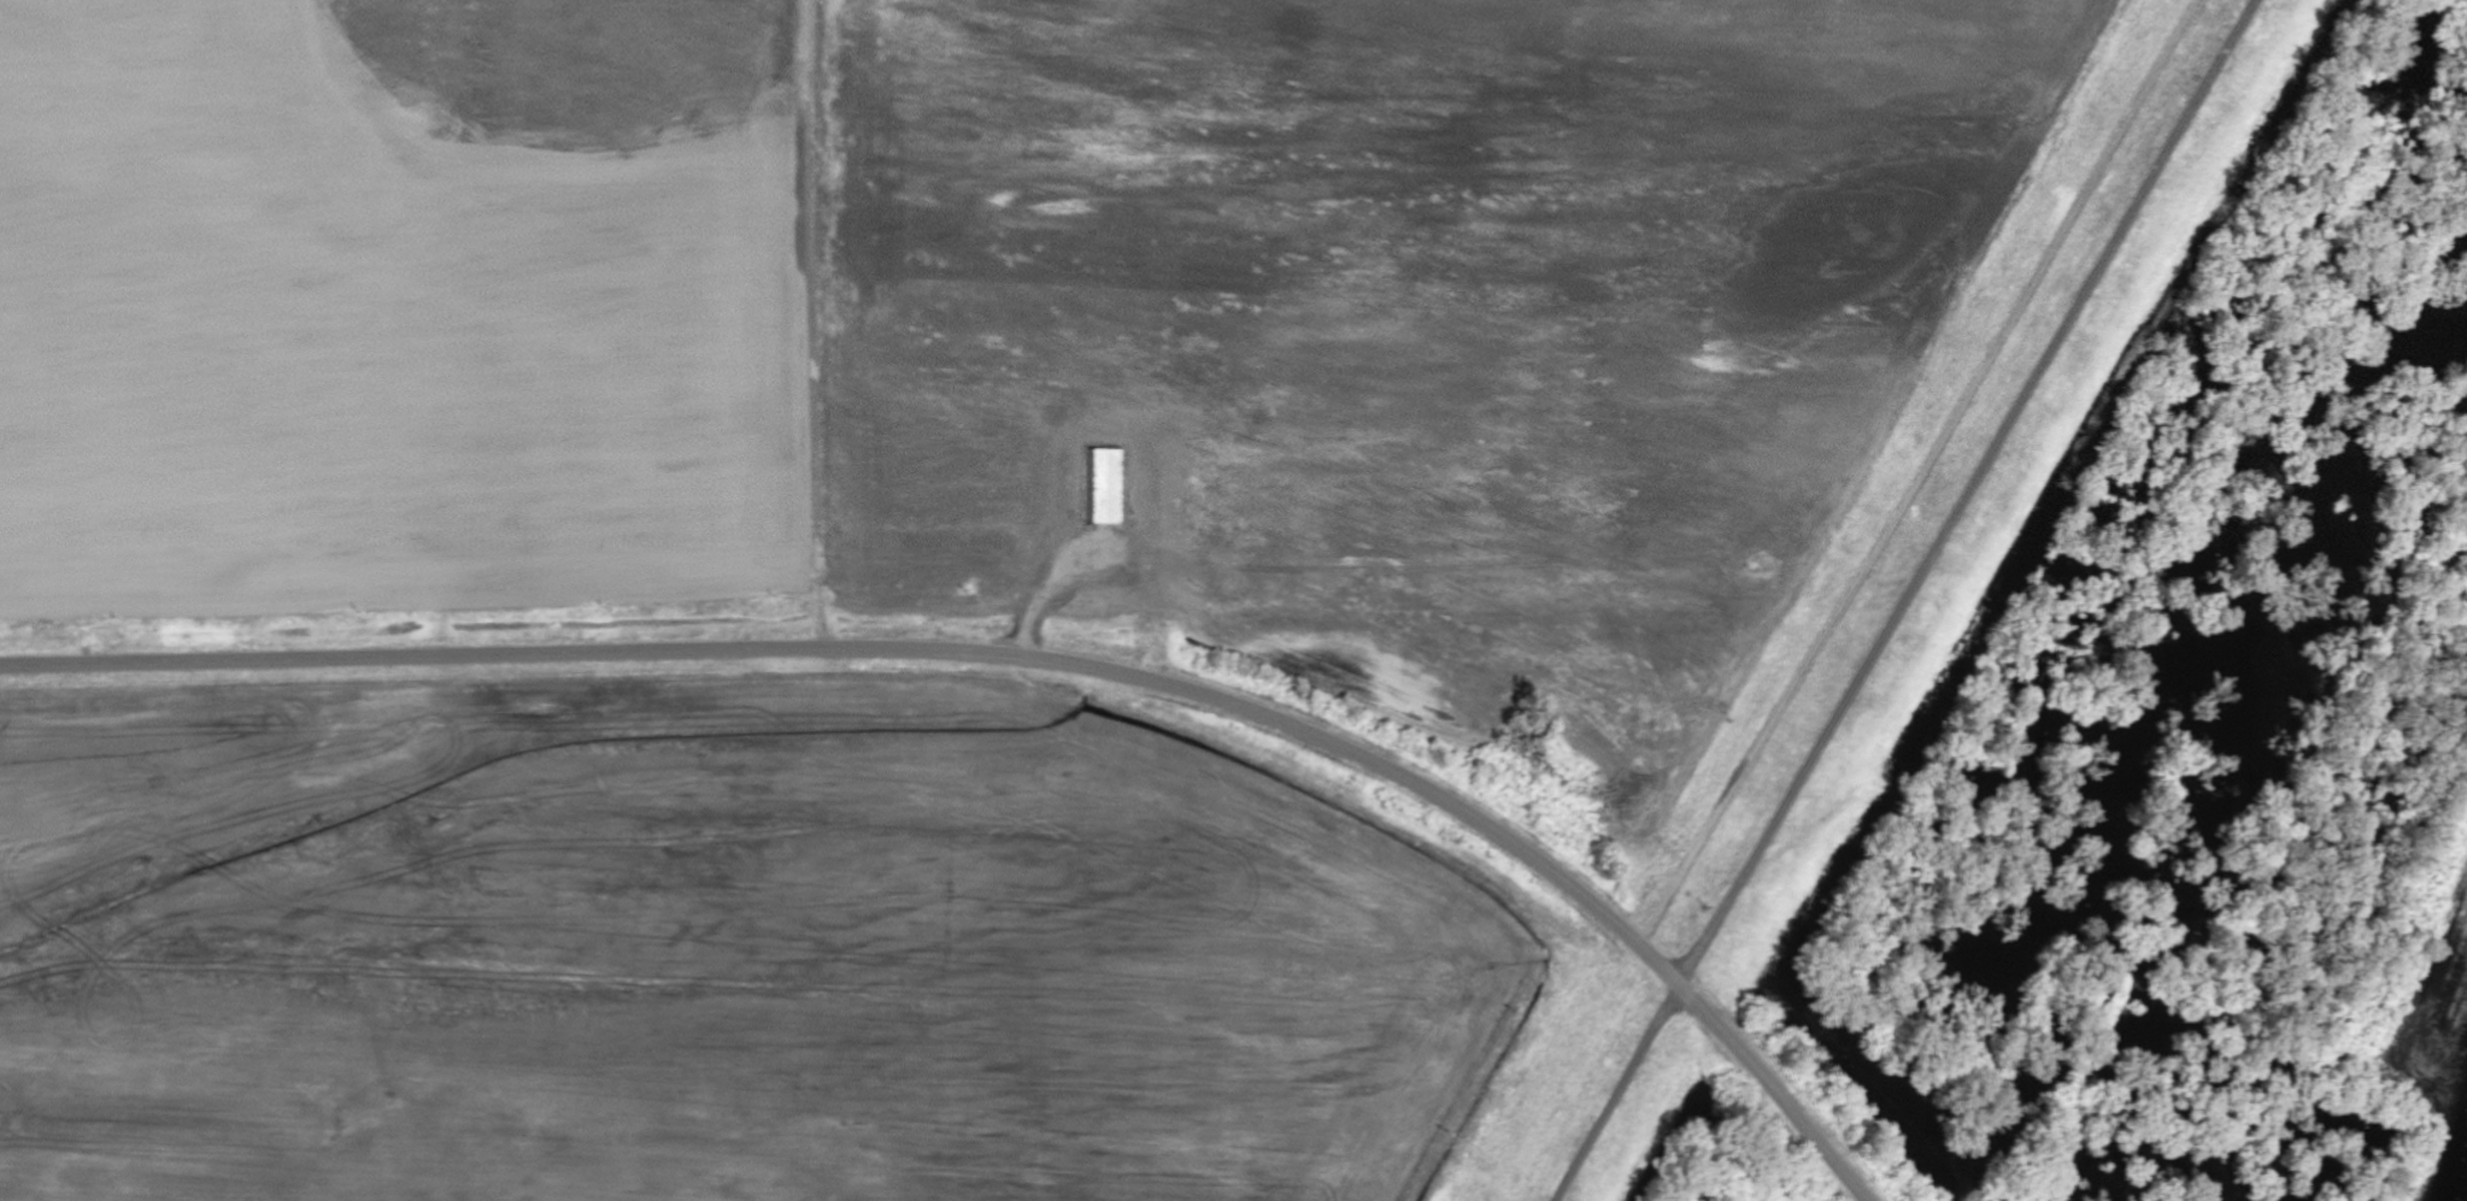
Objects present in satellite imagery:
road: (1925, 473)
road: (1968, 490)
road: (1027, 658)
road: (1621, 1091)

